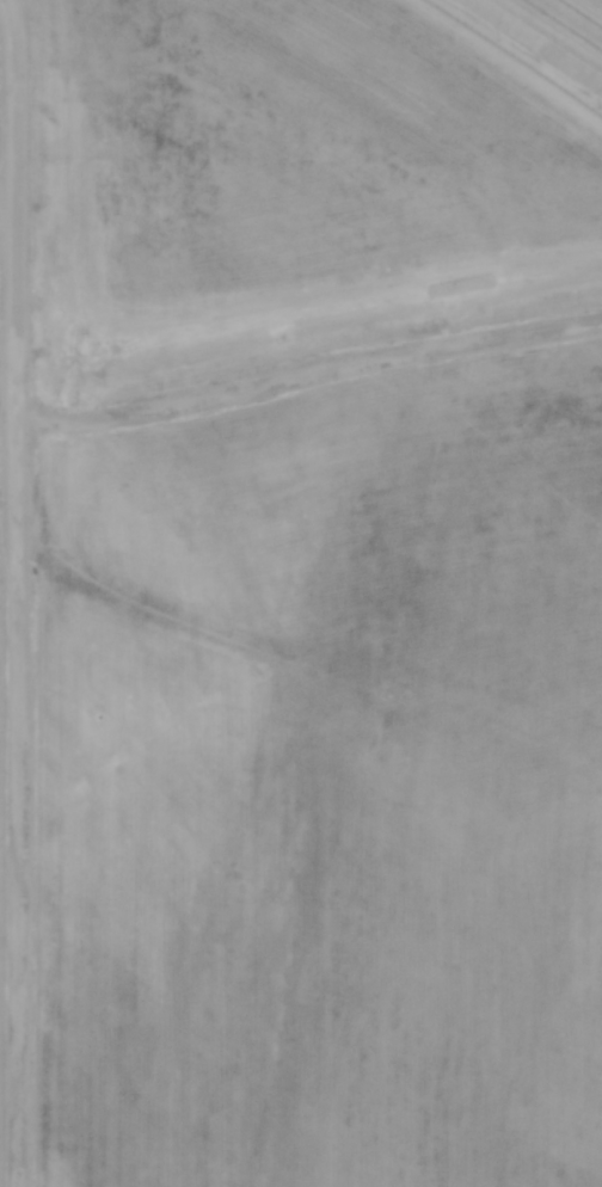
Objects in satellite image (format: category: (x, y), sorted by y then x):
road: (535, 43)
road: (300, 379)
road: (13, 592)
airport: (300, 593)

